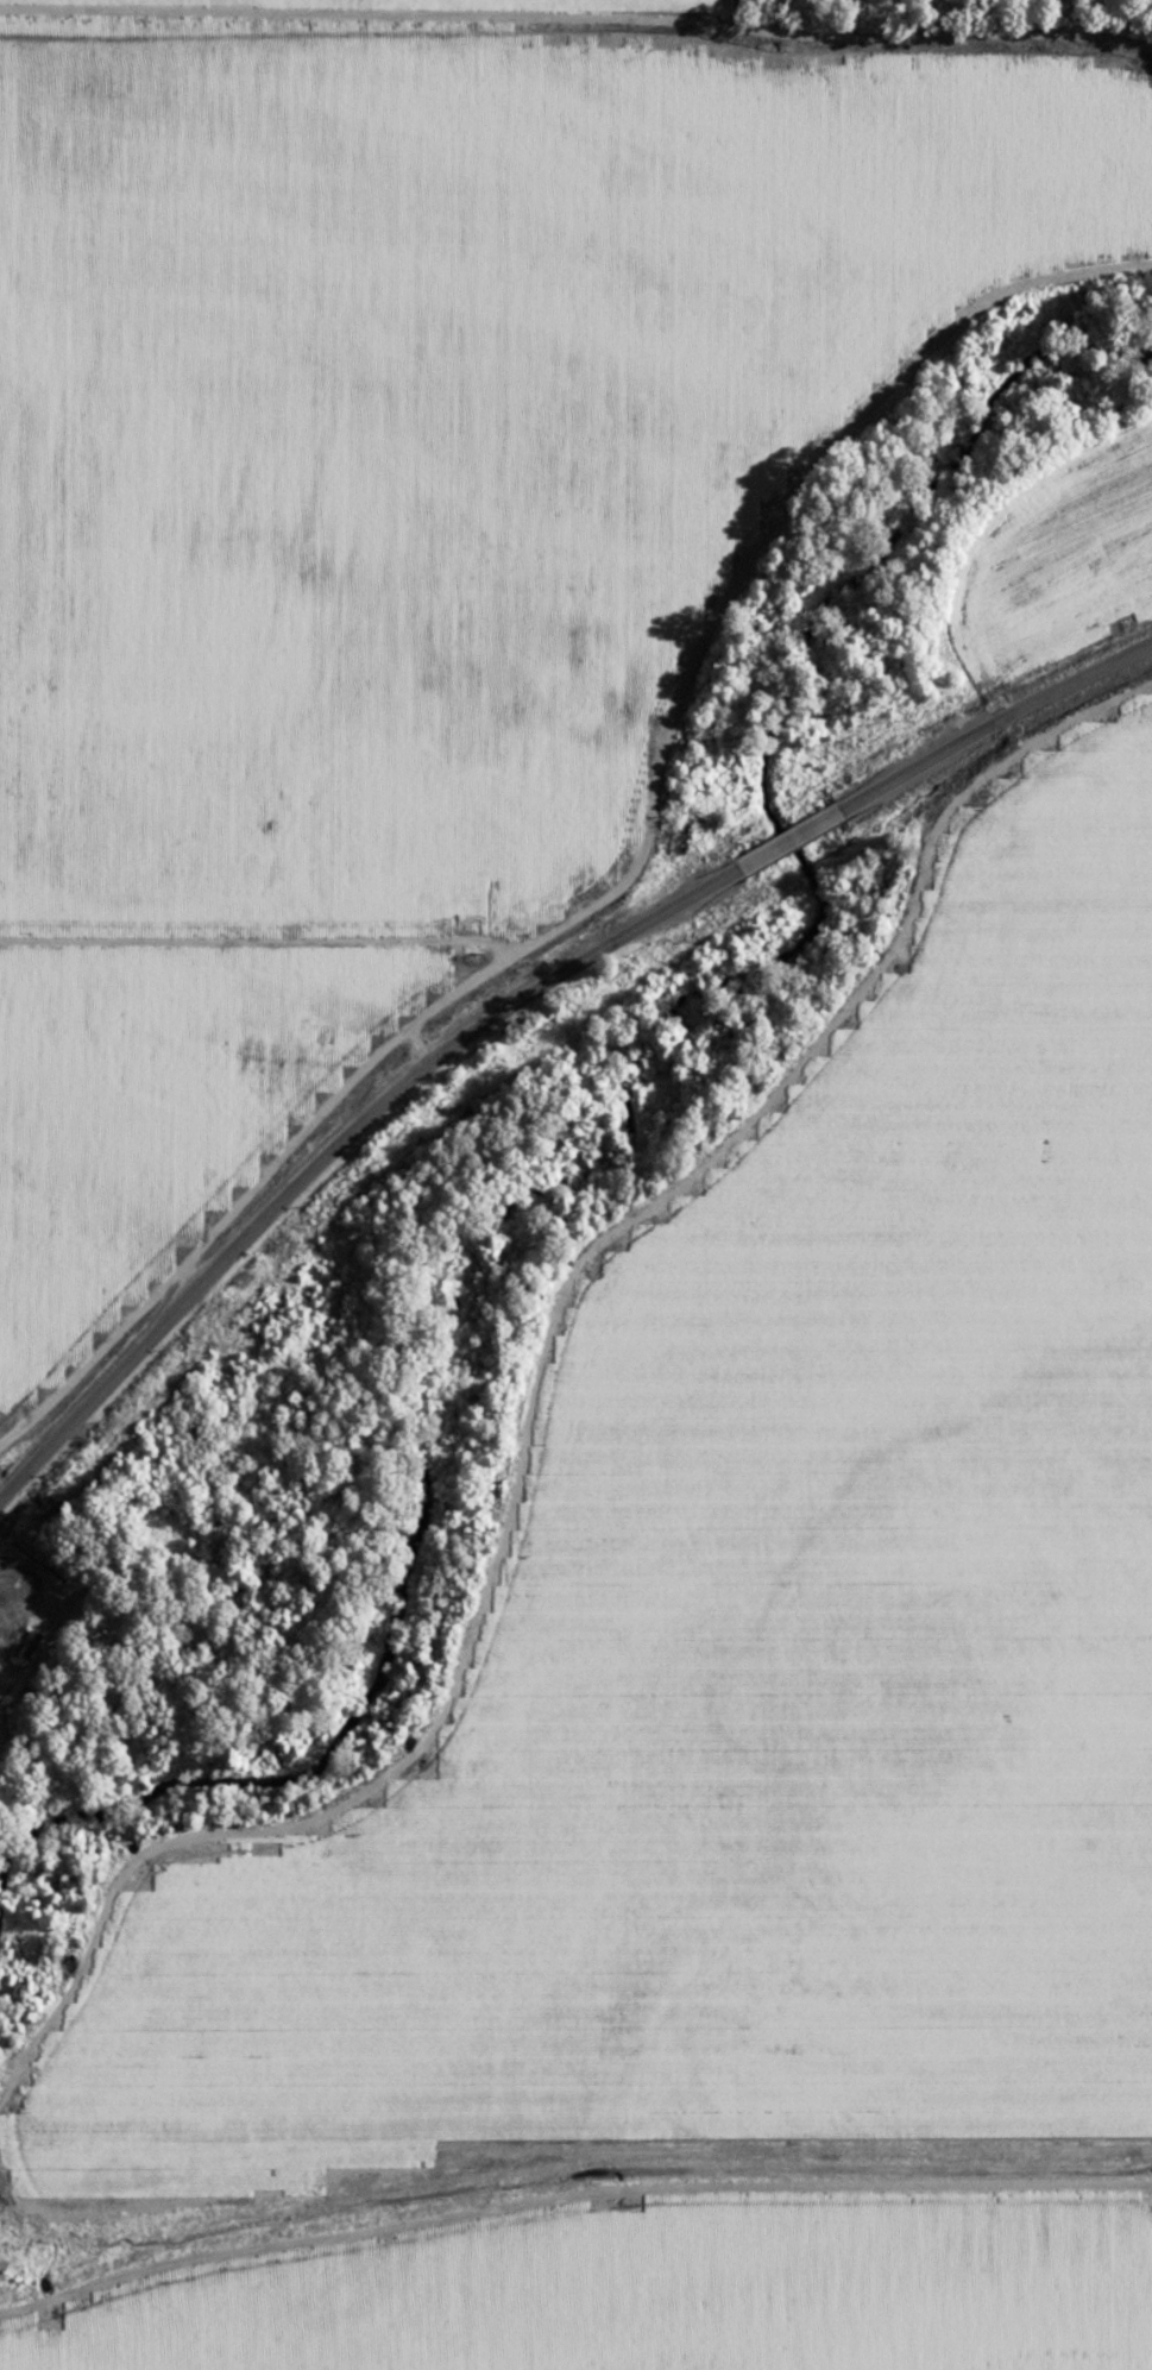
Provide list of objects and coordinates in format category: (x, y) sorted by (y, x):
road: (336, 410)
road: (518, 999)
building: (252, 1071)

